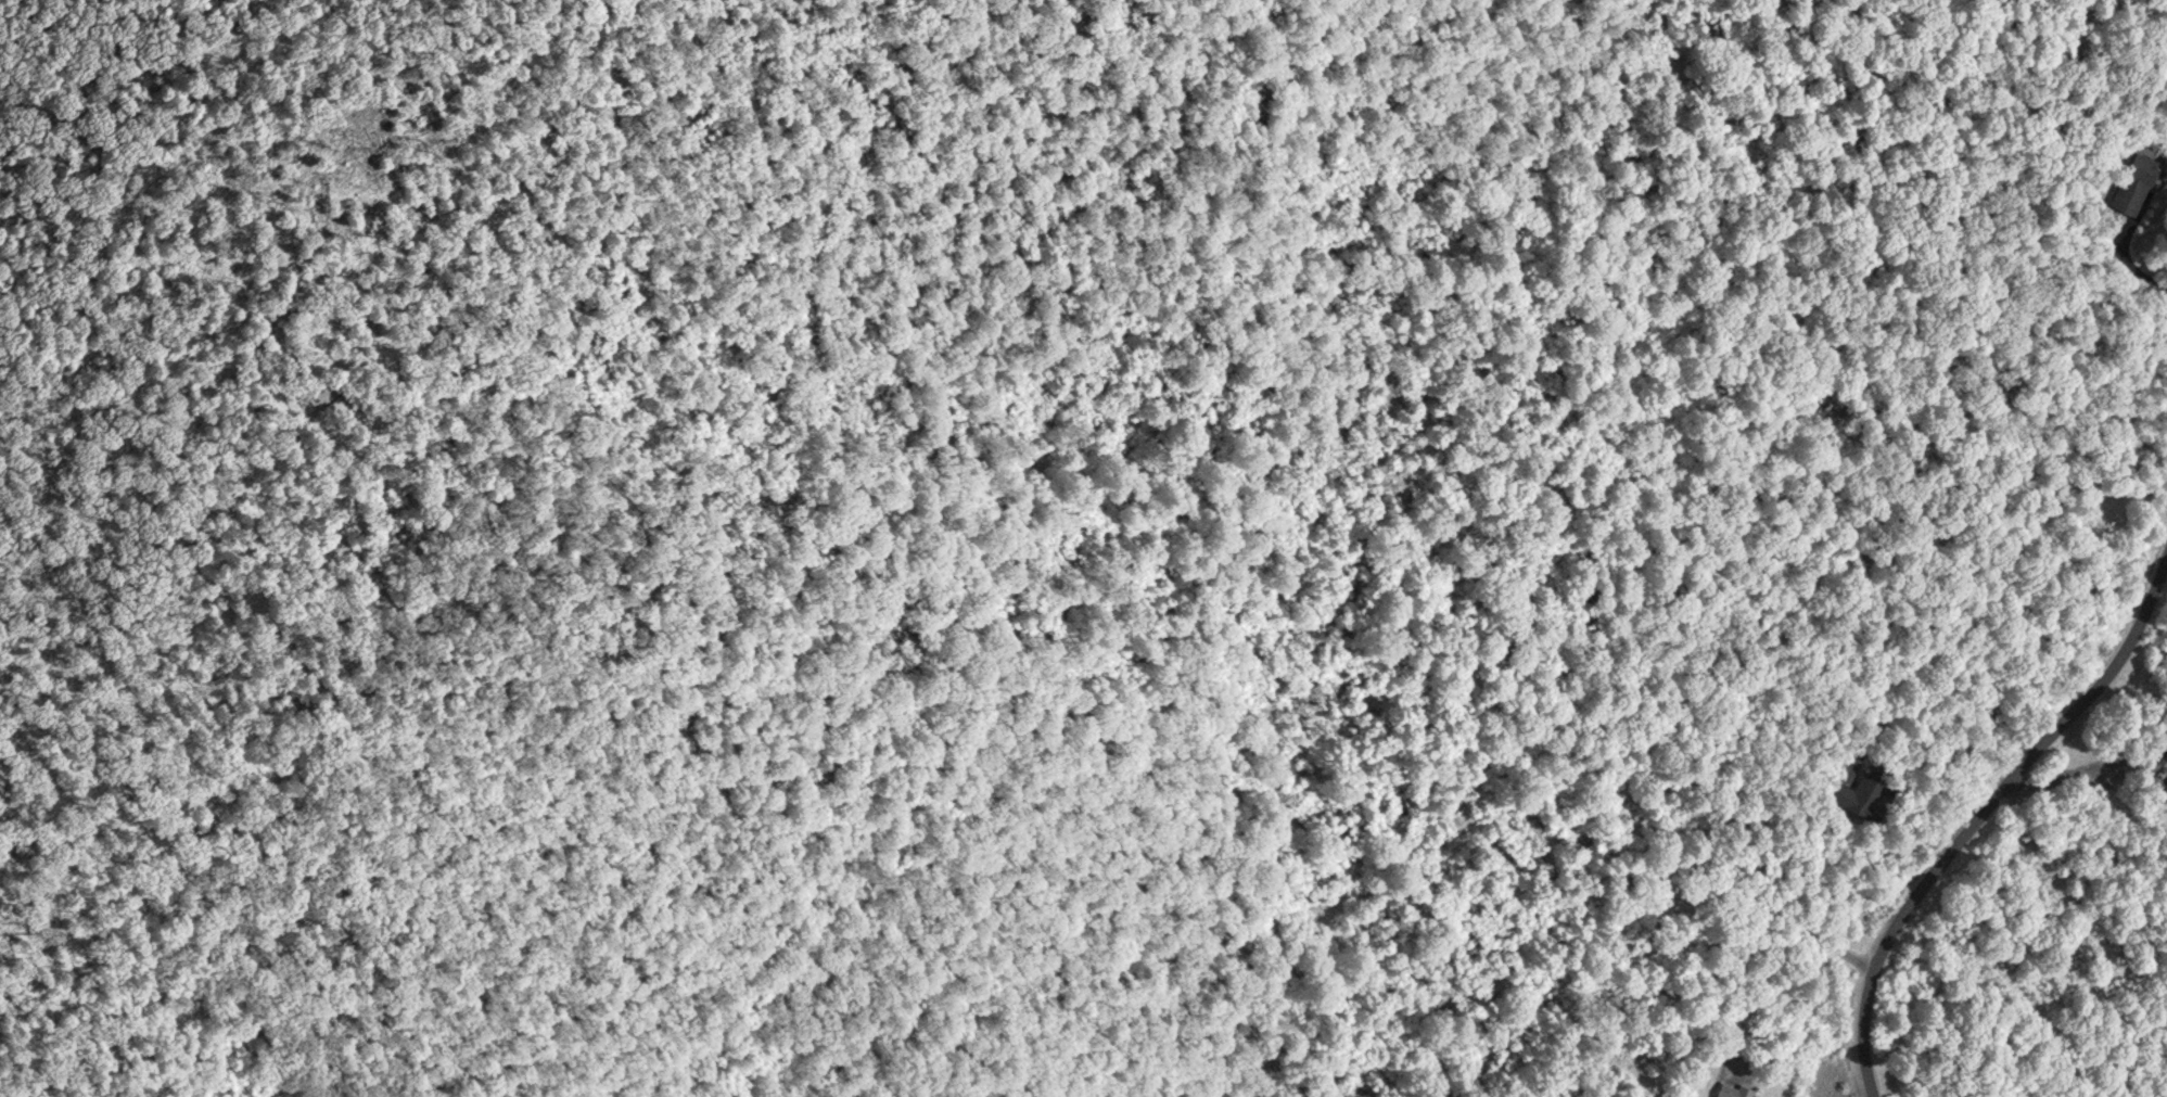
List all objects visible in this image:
building: (2132, 179)
road: (2130, 263)
road: (164, 354)
road: (1942, 701)
building: (2166, 750)
building: (1864, 788)
road: (1978, 802)
road: (1767, 949)
building: (1732, 1088)

